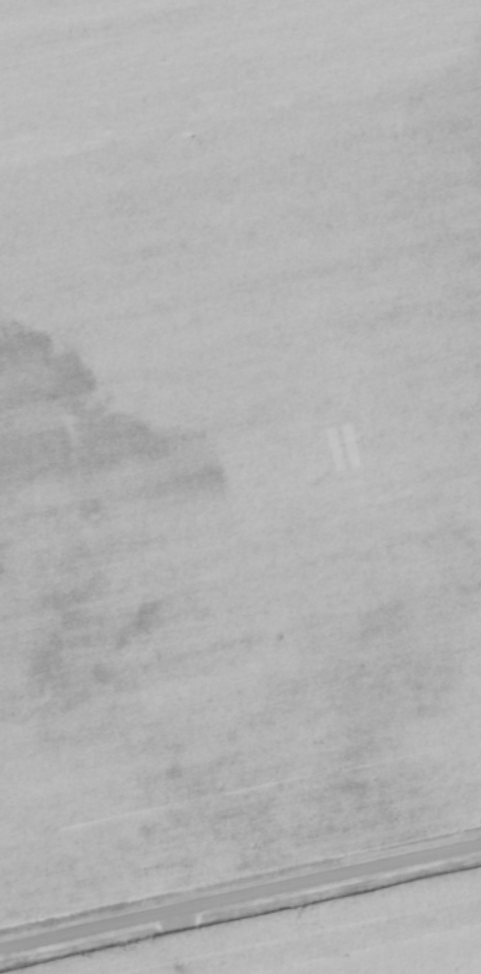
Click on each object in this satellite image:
road: (240, 899)

